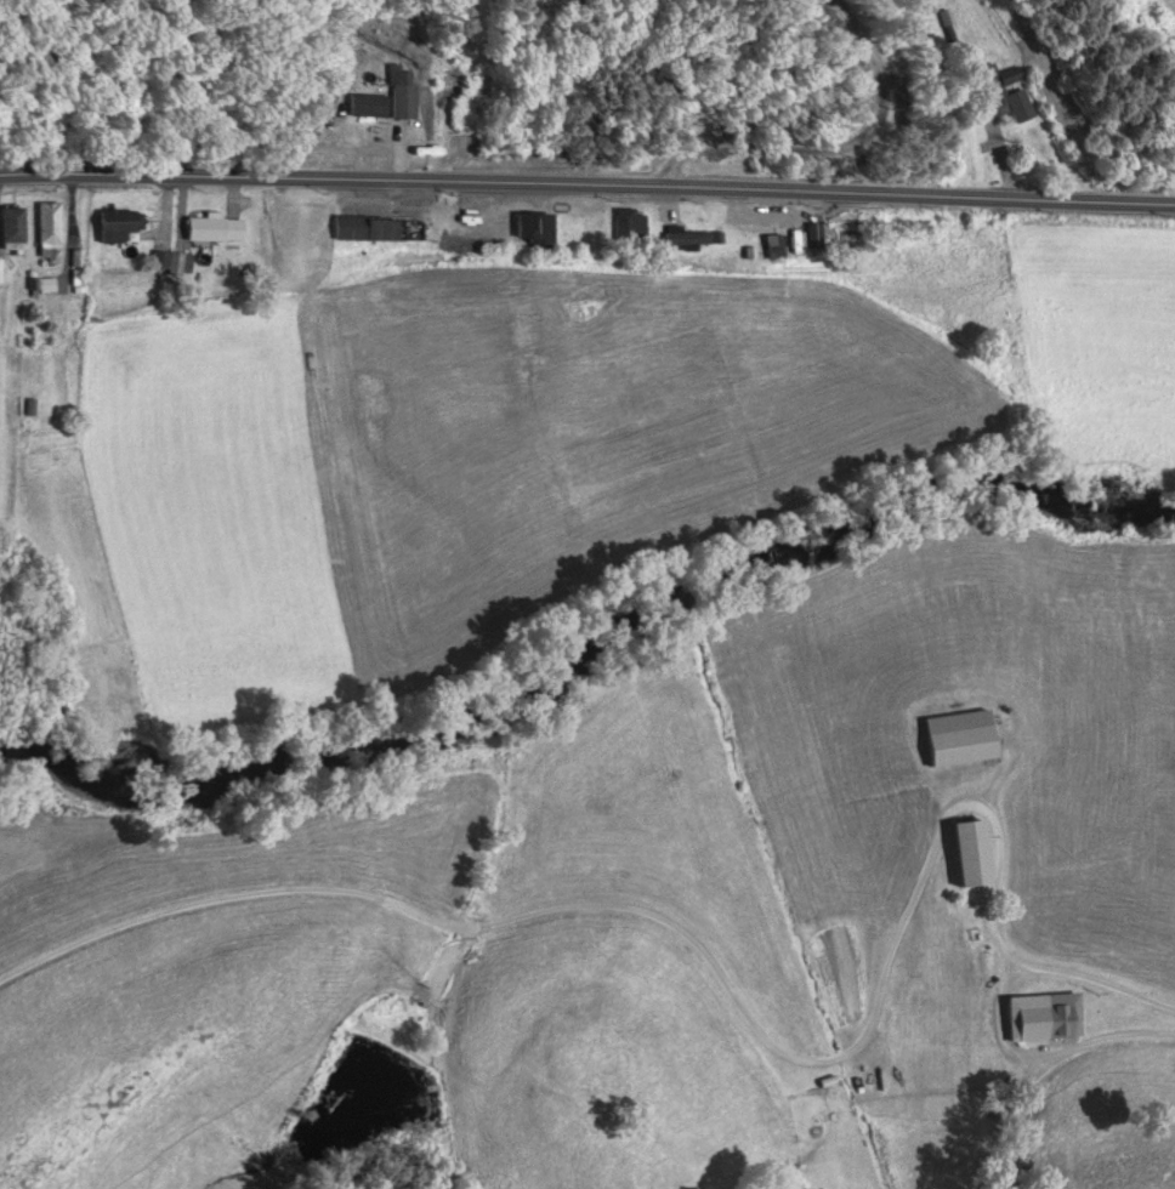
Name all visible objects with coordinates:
building: (1005, 95)
road: (823, 147)
road: (587, 183)
building: (49, 224)
building: (112, 224)
building: (628, 227)
building: (12, 228)
building: (211, 228)
building: (374, 228)
building: (530, 228)
building: (430, 229)
building: (665, 229)
building: (702, 239)
building: (768, 245)
building: (0, 271)
river: (590, 644)
building: (964, 852)
building: (976, 969)
building: (1052, 1020)

